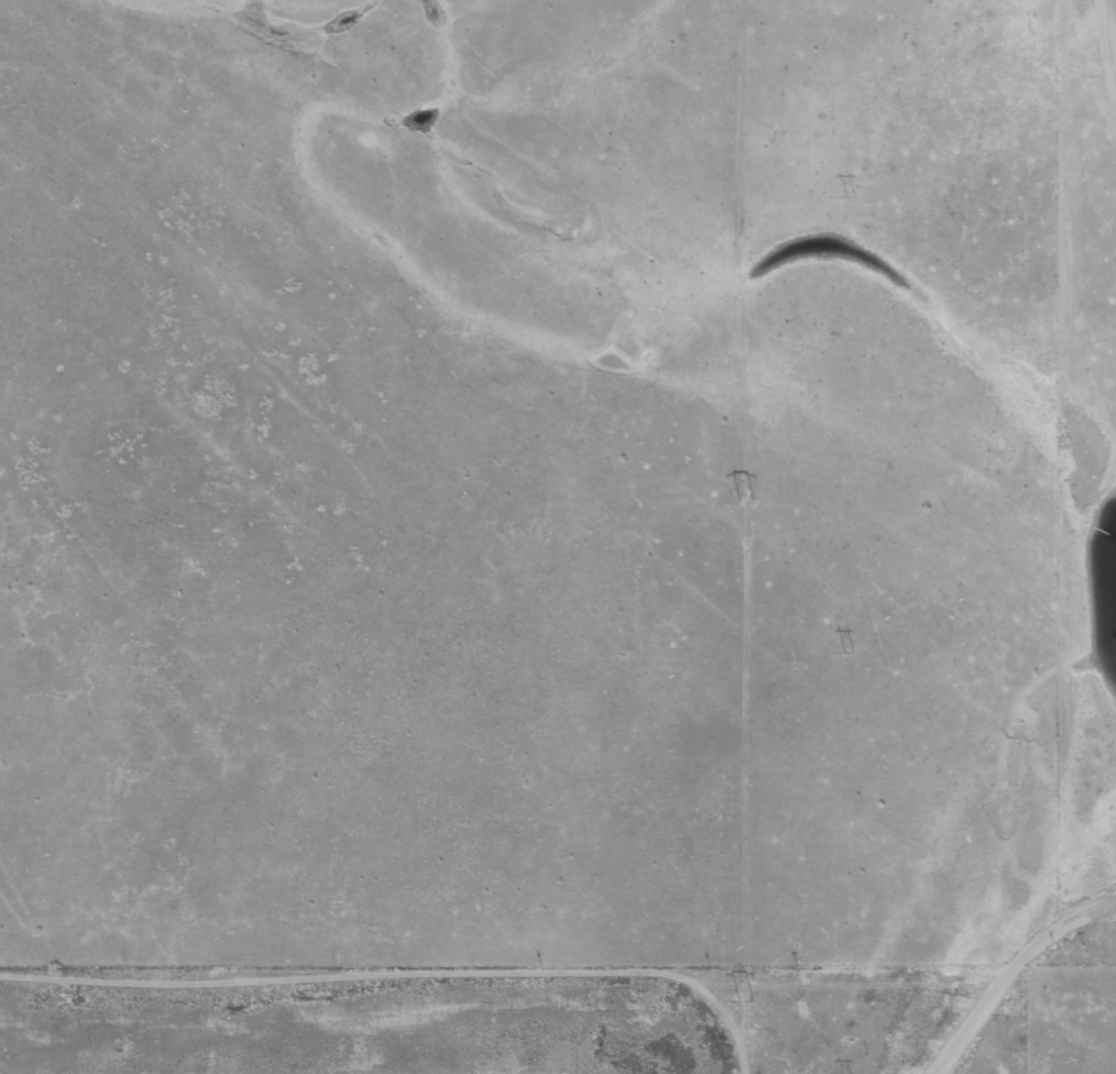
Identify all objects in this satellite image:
power tower: (843, 190)
road: (807, 195)
power tower: (738, 505)
power tower: (842, 643)
road: (221, 812)
power tower: (738, 1001)
power plant: (511, 1019)

